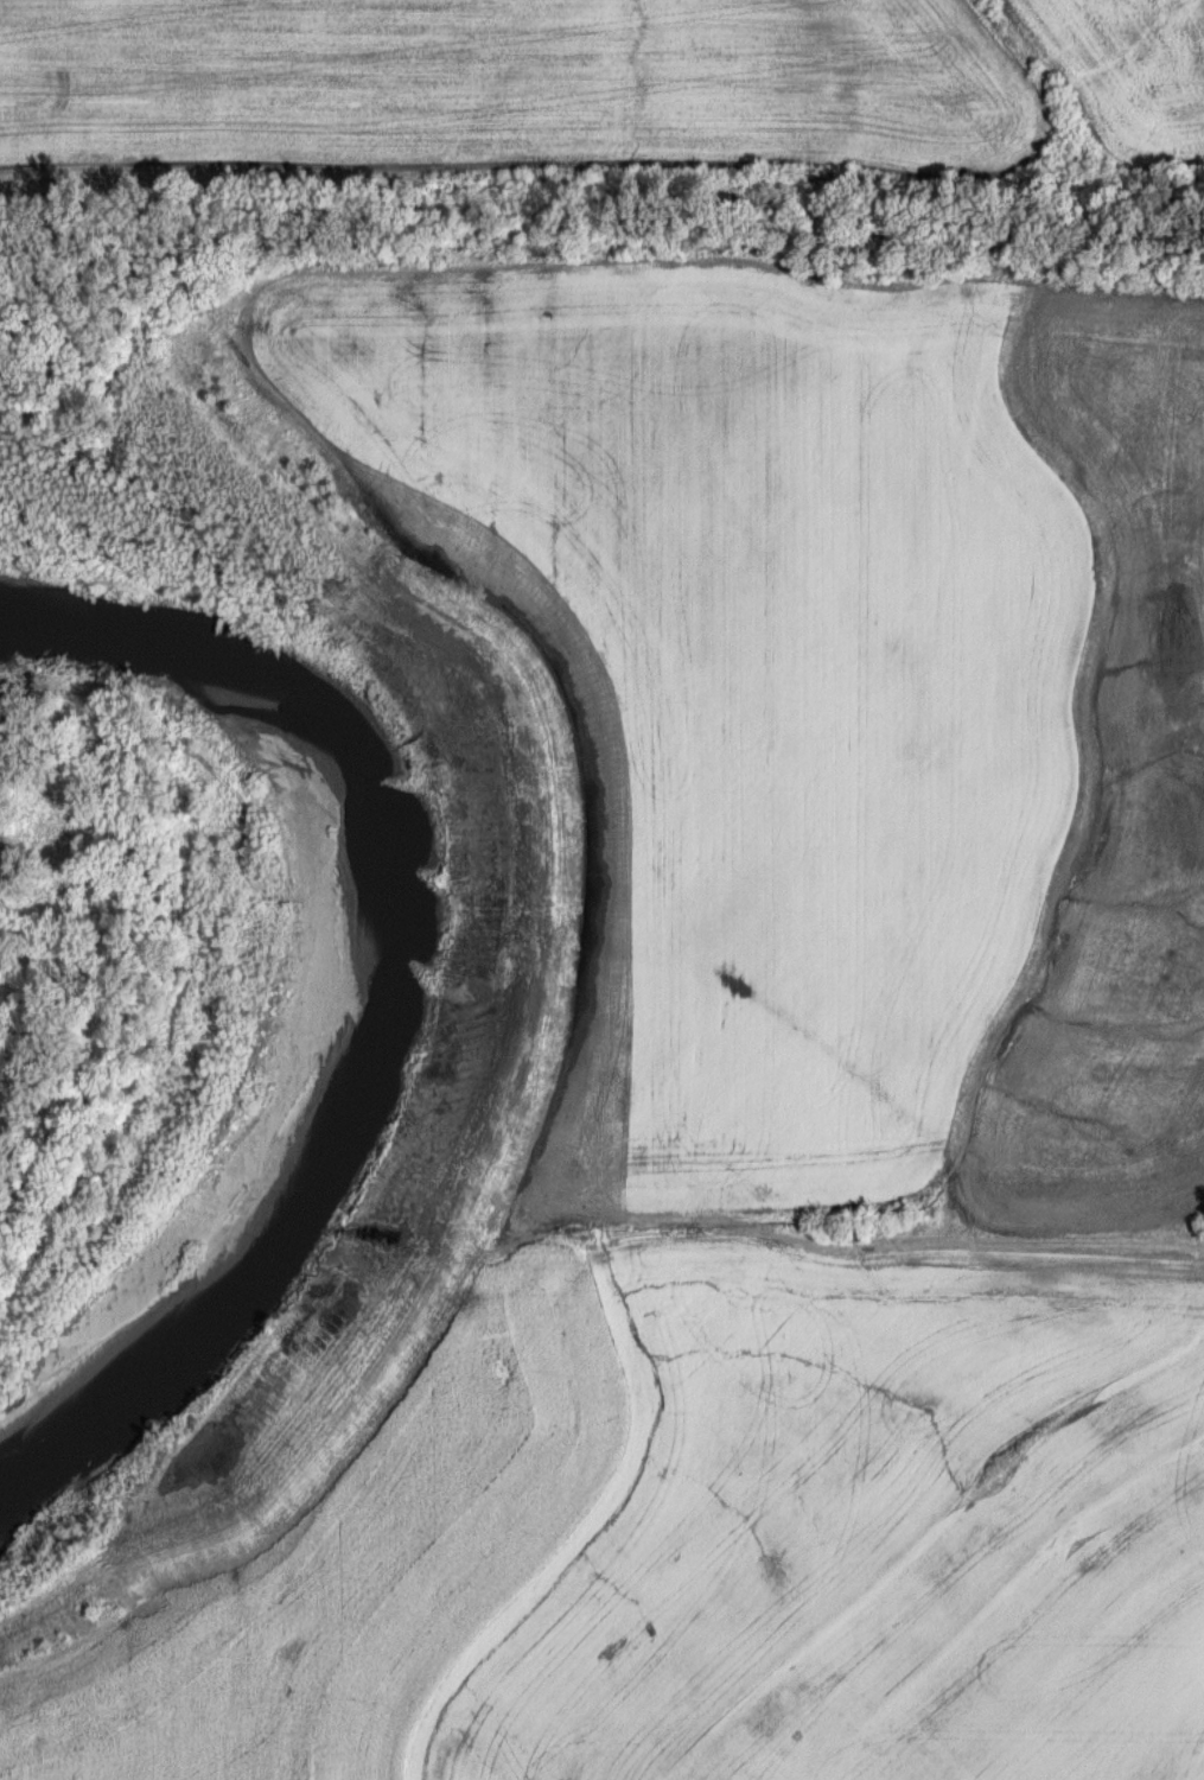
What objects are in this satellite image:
river: (350, 964)

